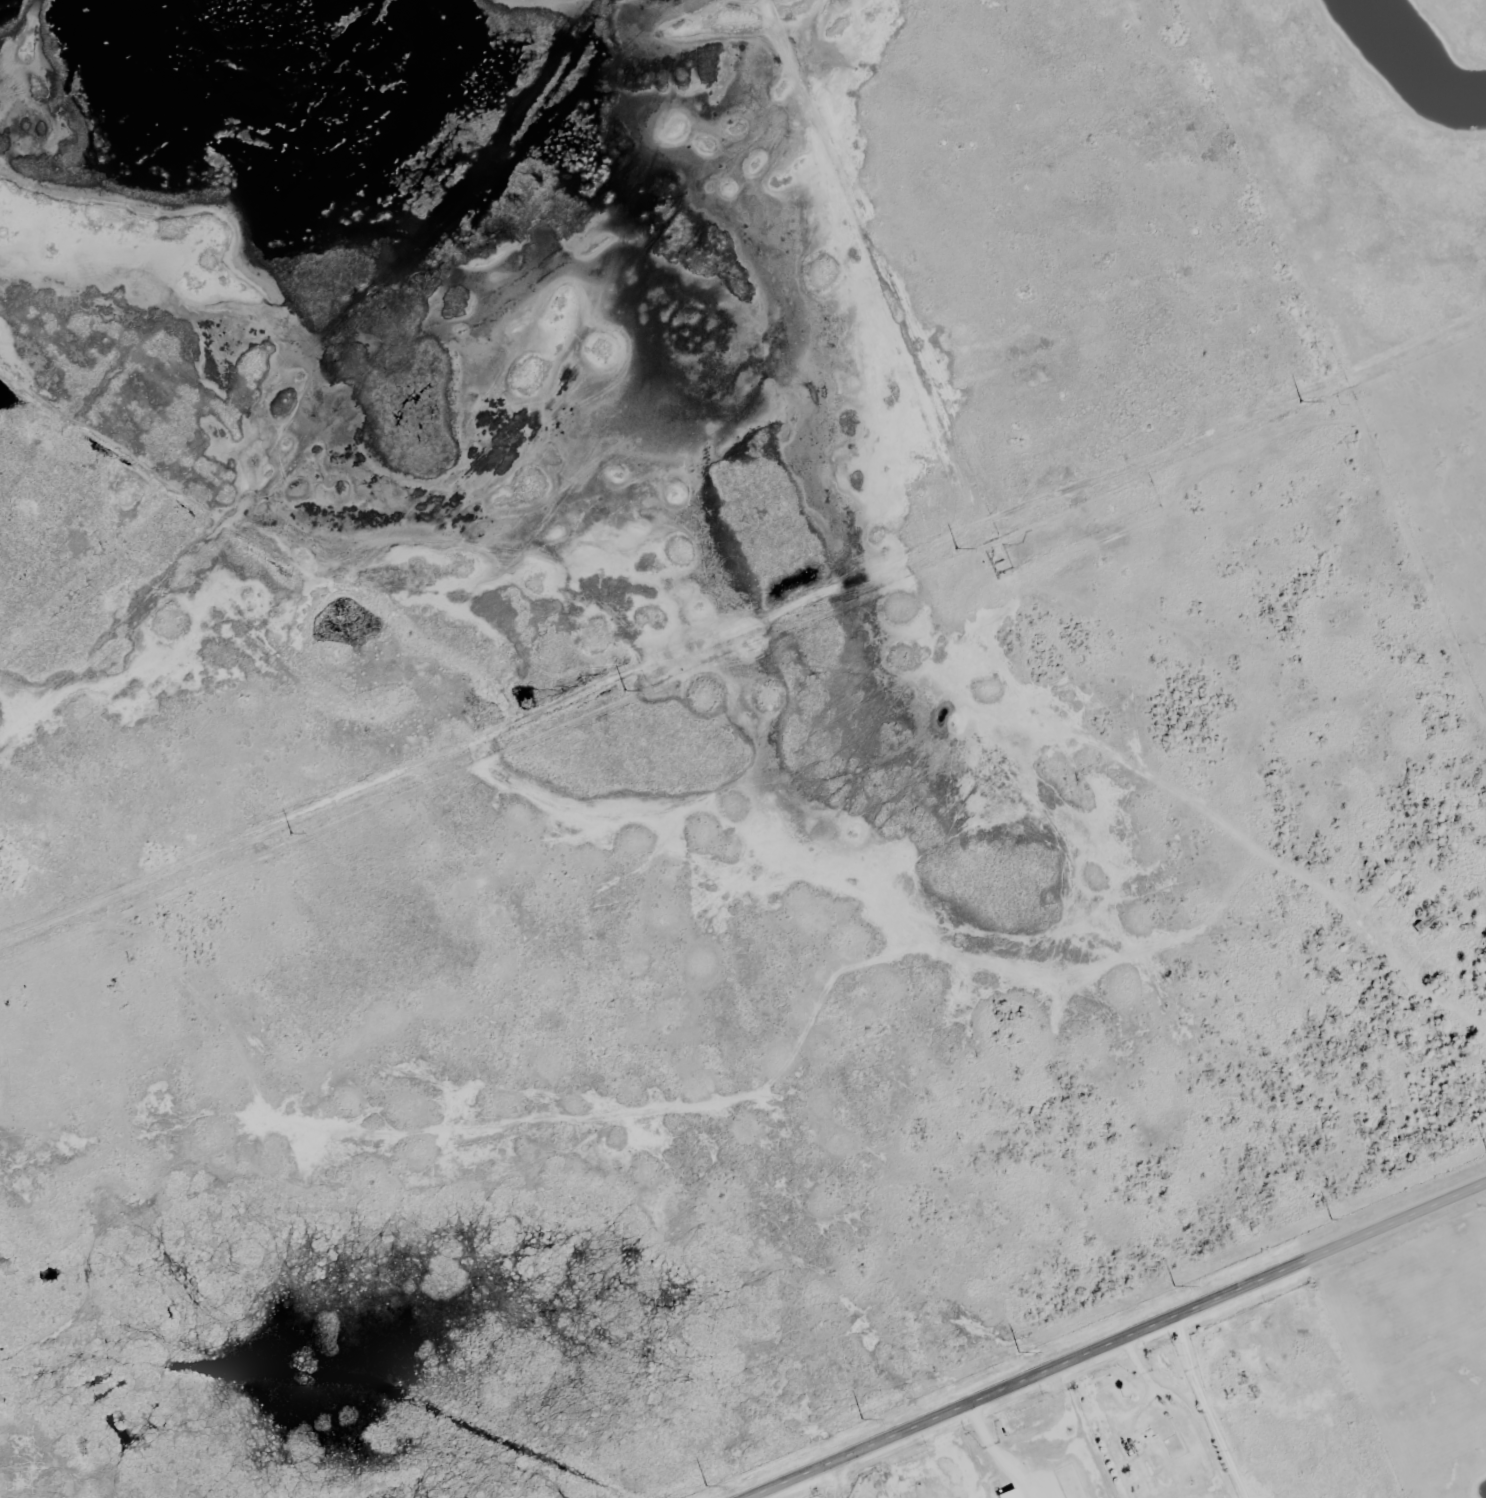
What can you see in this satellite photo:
building: (1393, 881)
building: (1423, 923)
road: (1116, 1339)
building: (1132, 1440)
building: (1069, 1481)
building: (1008, 1493)

